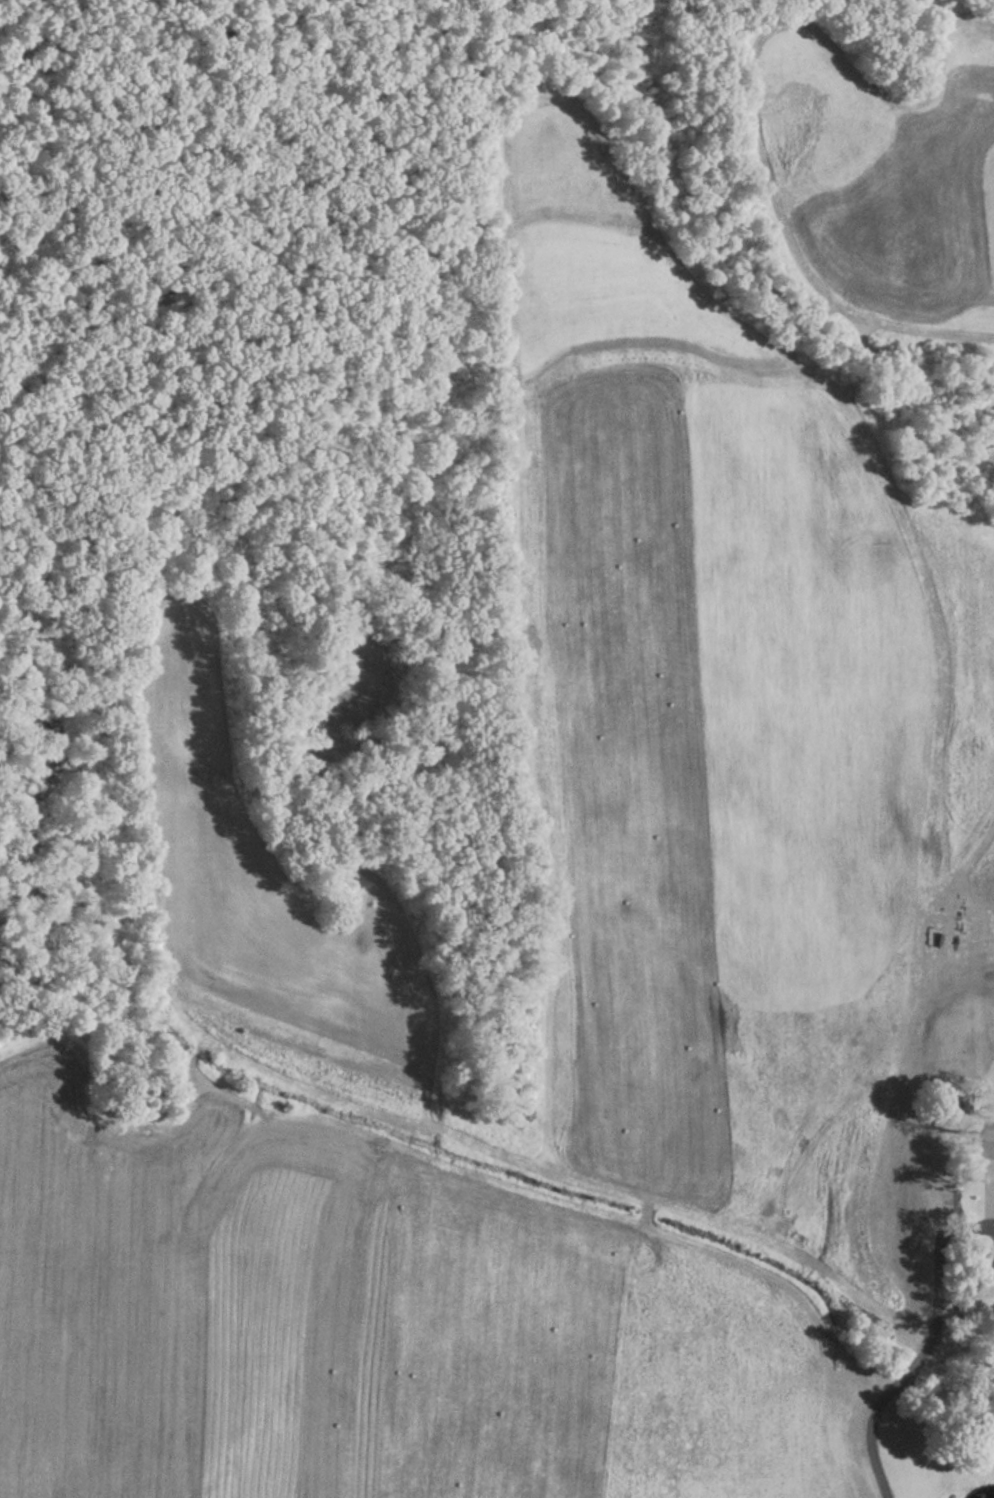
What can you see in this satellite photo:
road: (965, 1223)
road: (940, 1268)
road: (971, 1284)

